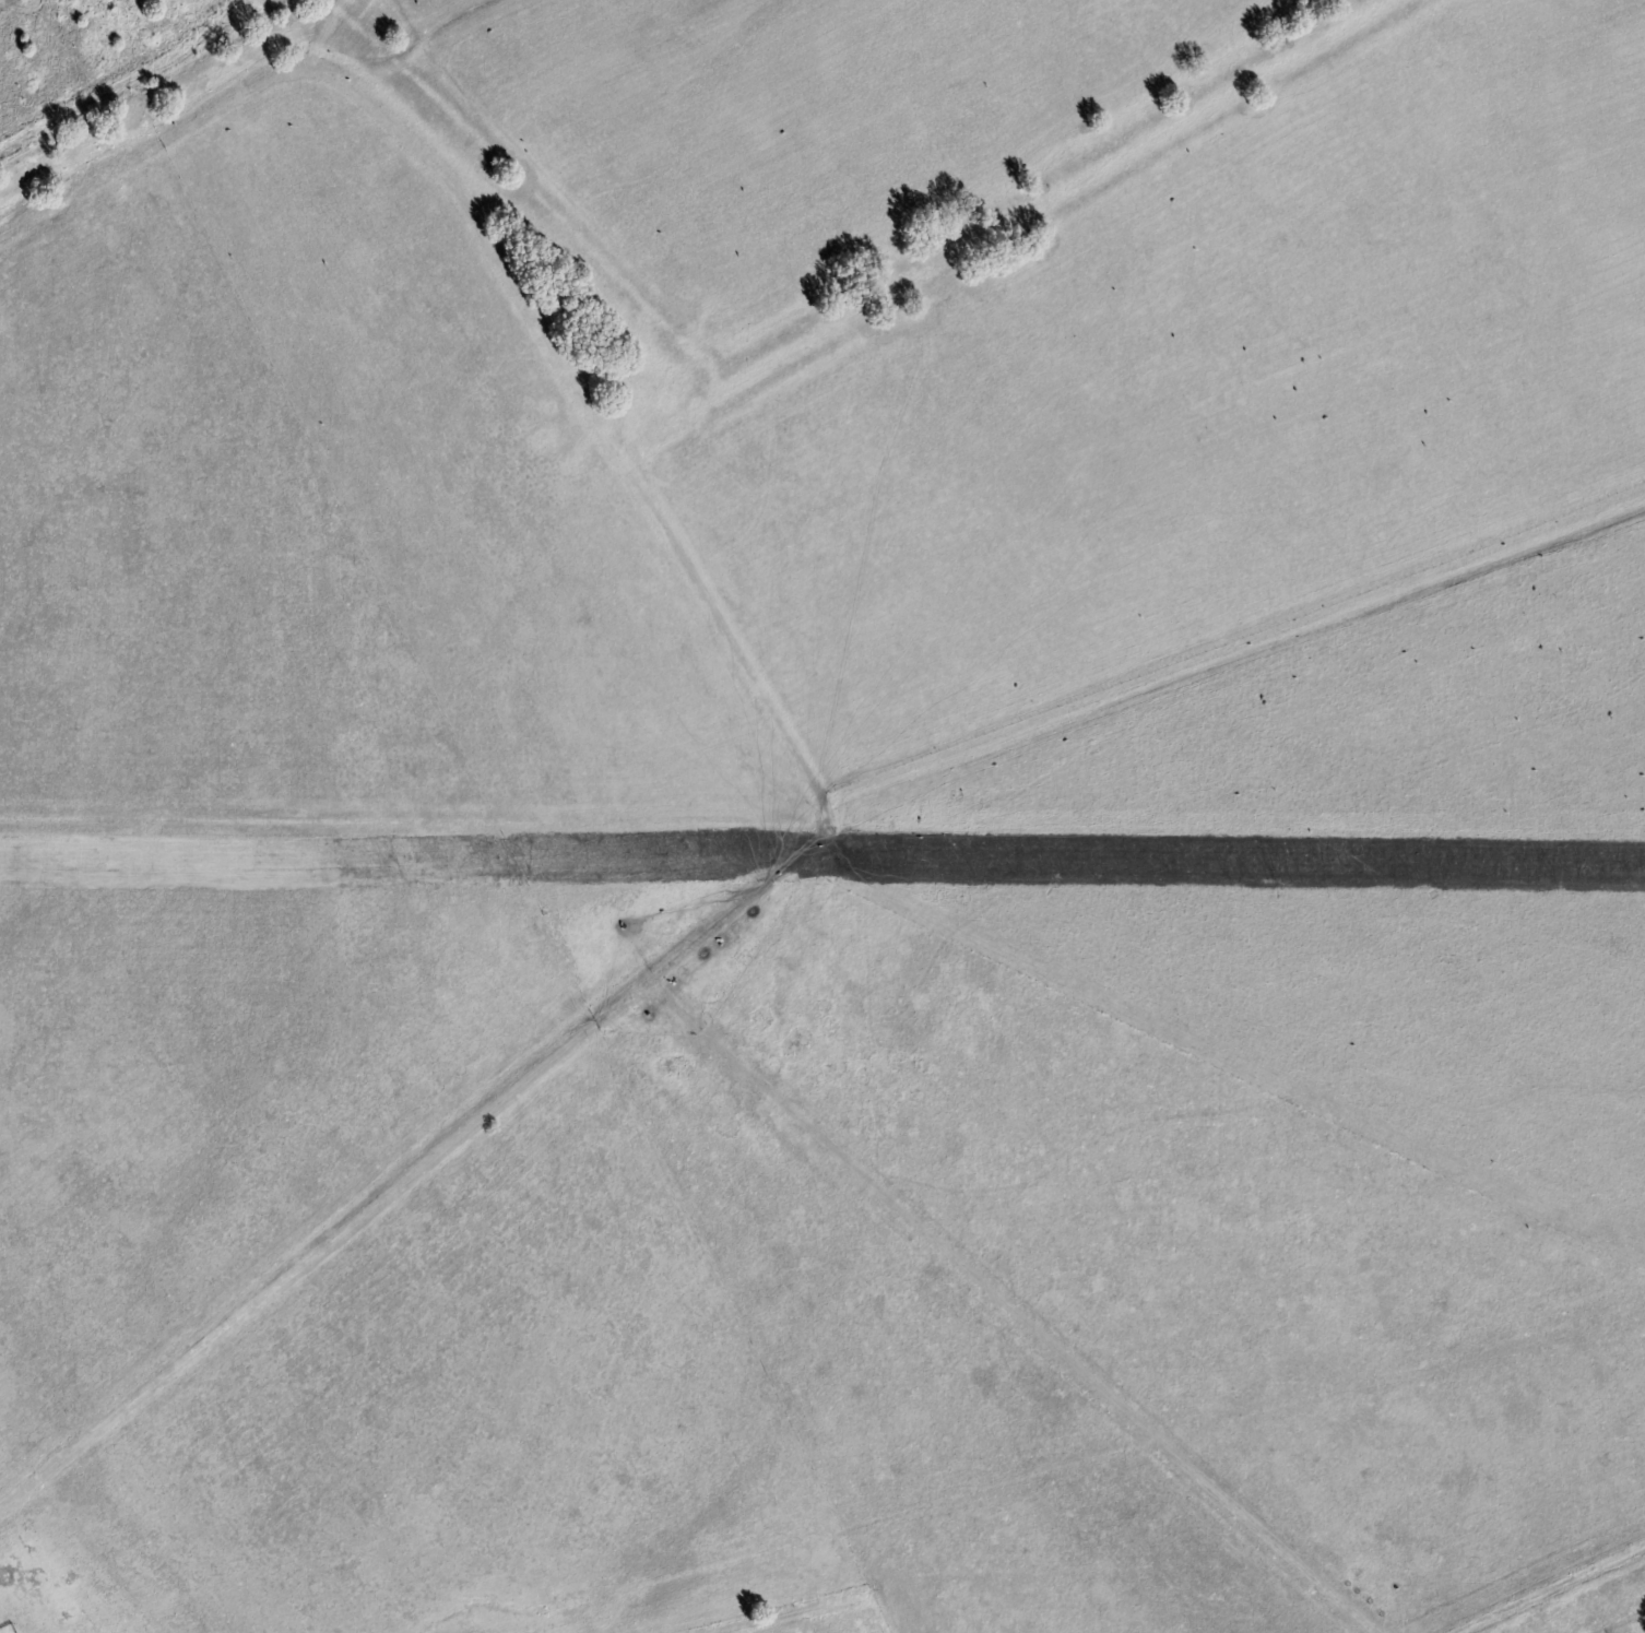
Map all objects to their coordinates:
road: (789, 336)

